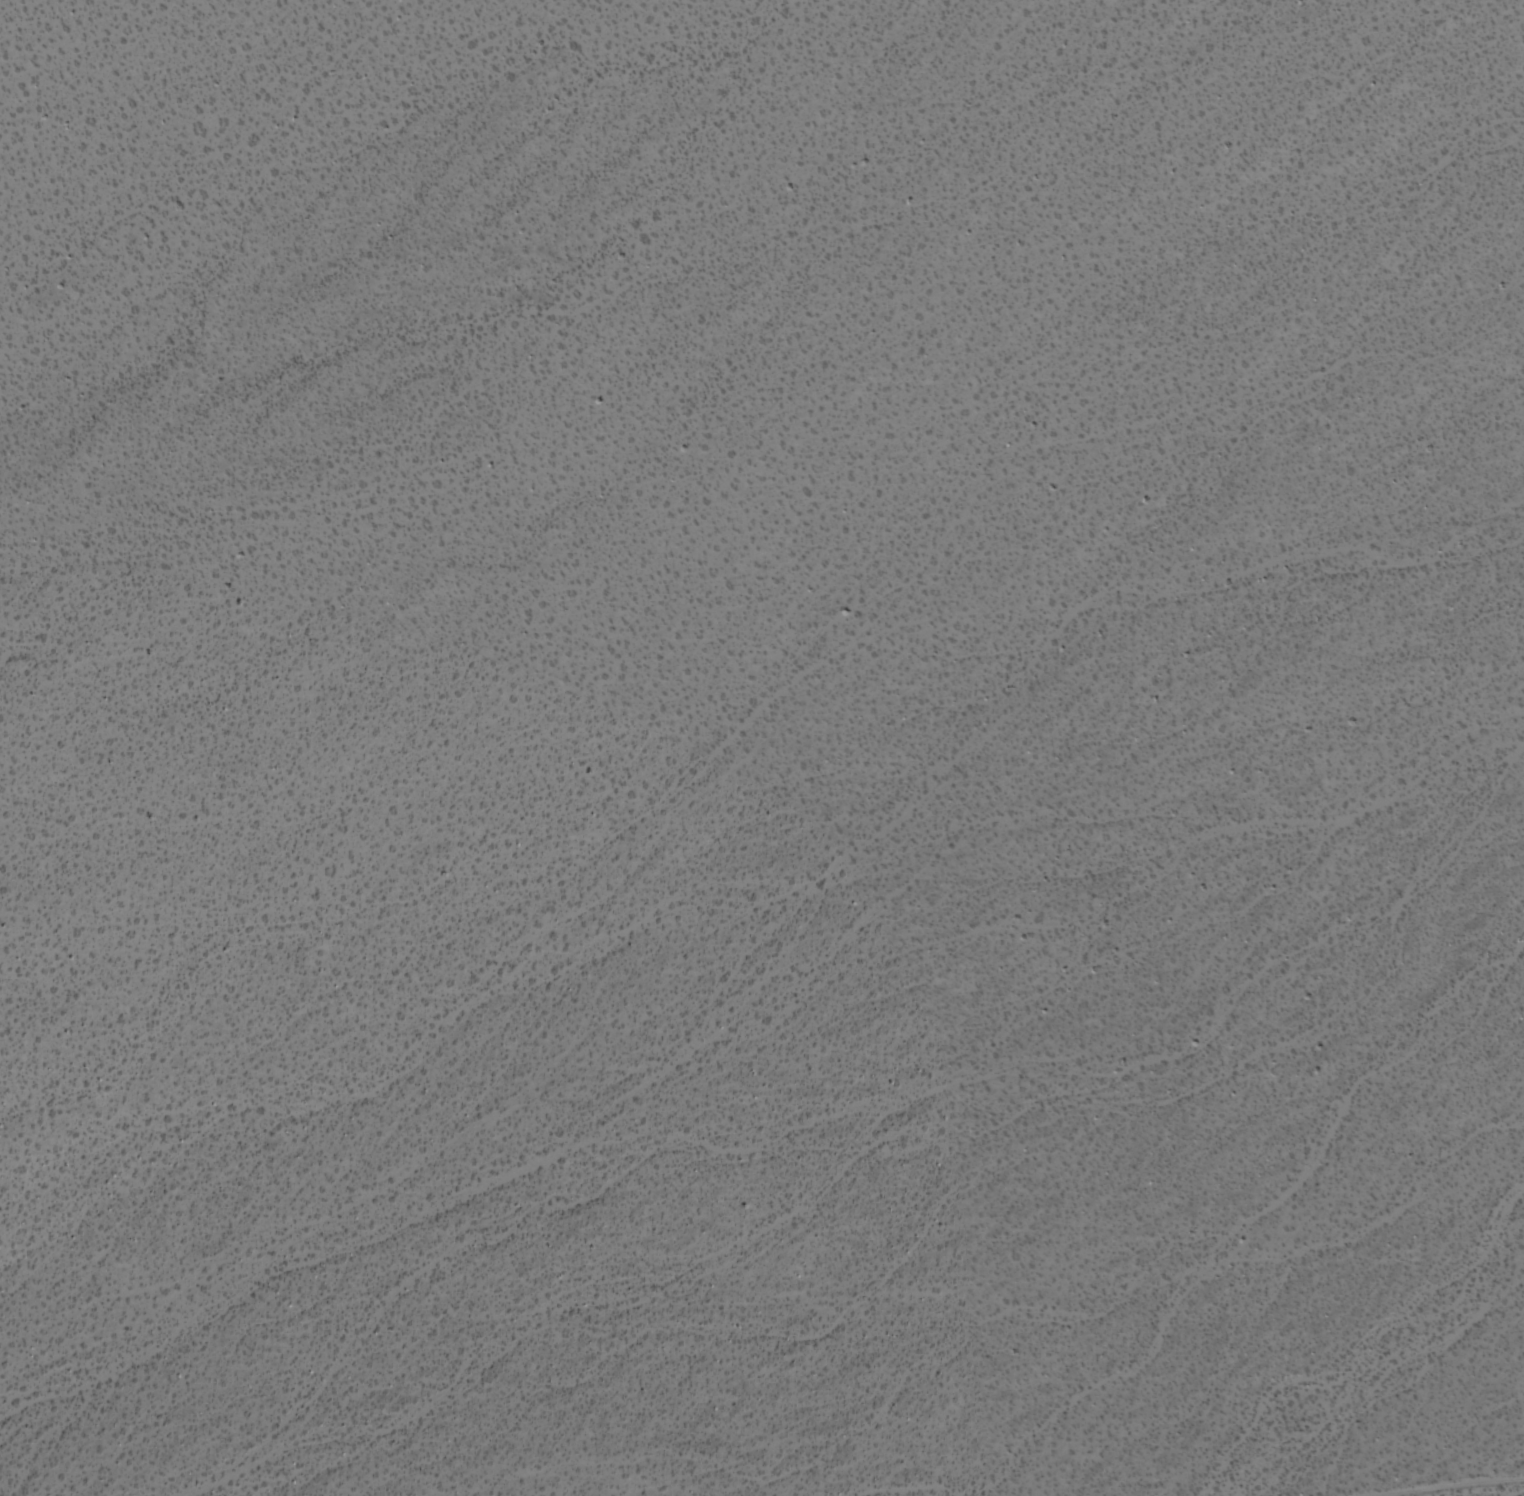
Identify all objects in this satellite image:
road: (1468, 1484)
road: (1388, 1493)

